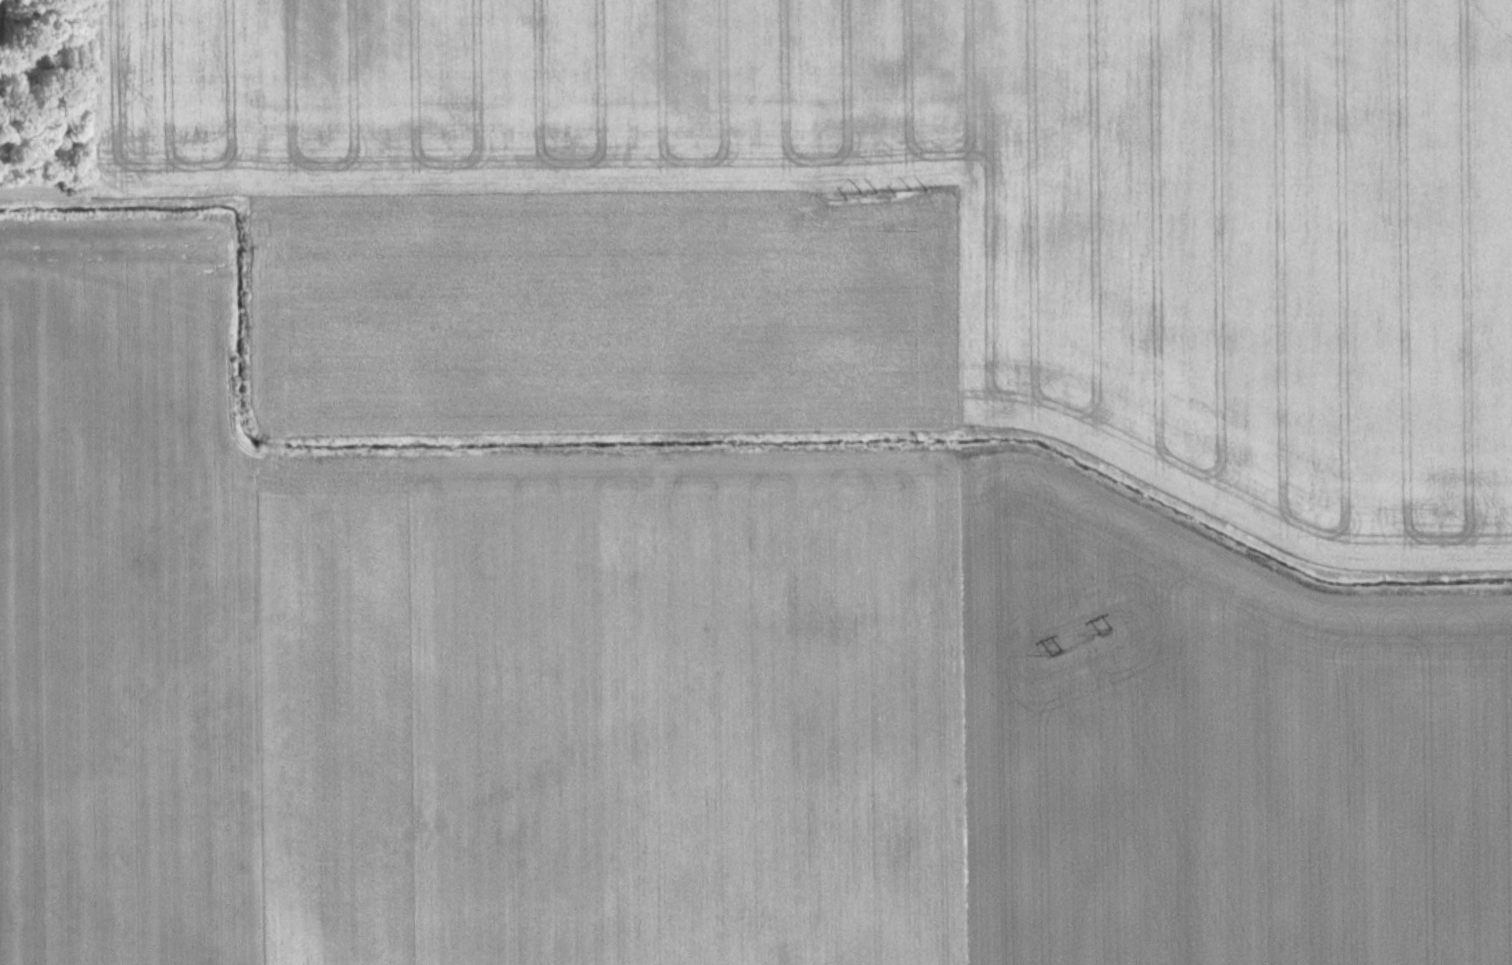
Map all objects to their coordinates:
power tower: (910, 190)
power tower: (860, 191)
power tower: (1105, 630)
power tower: (1056, 650)

